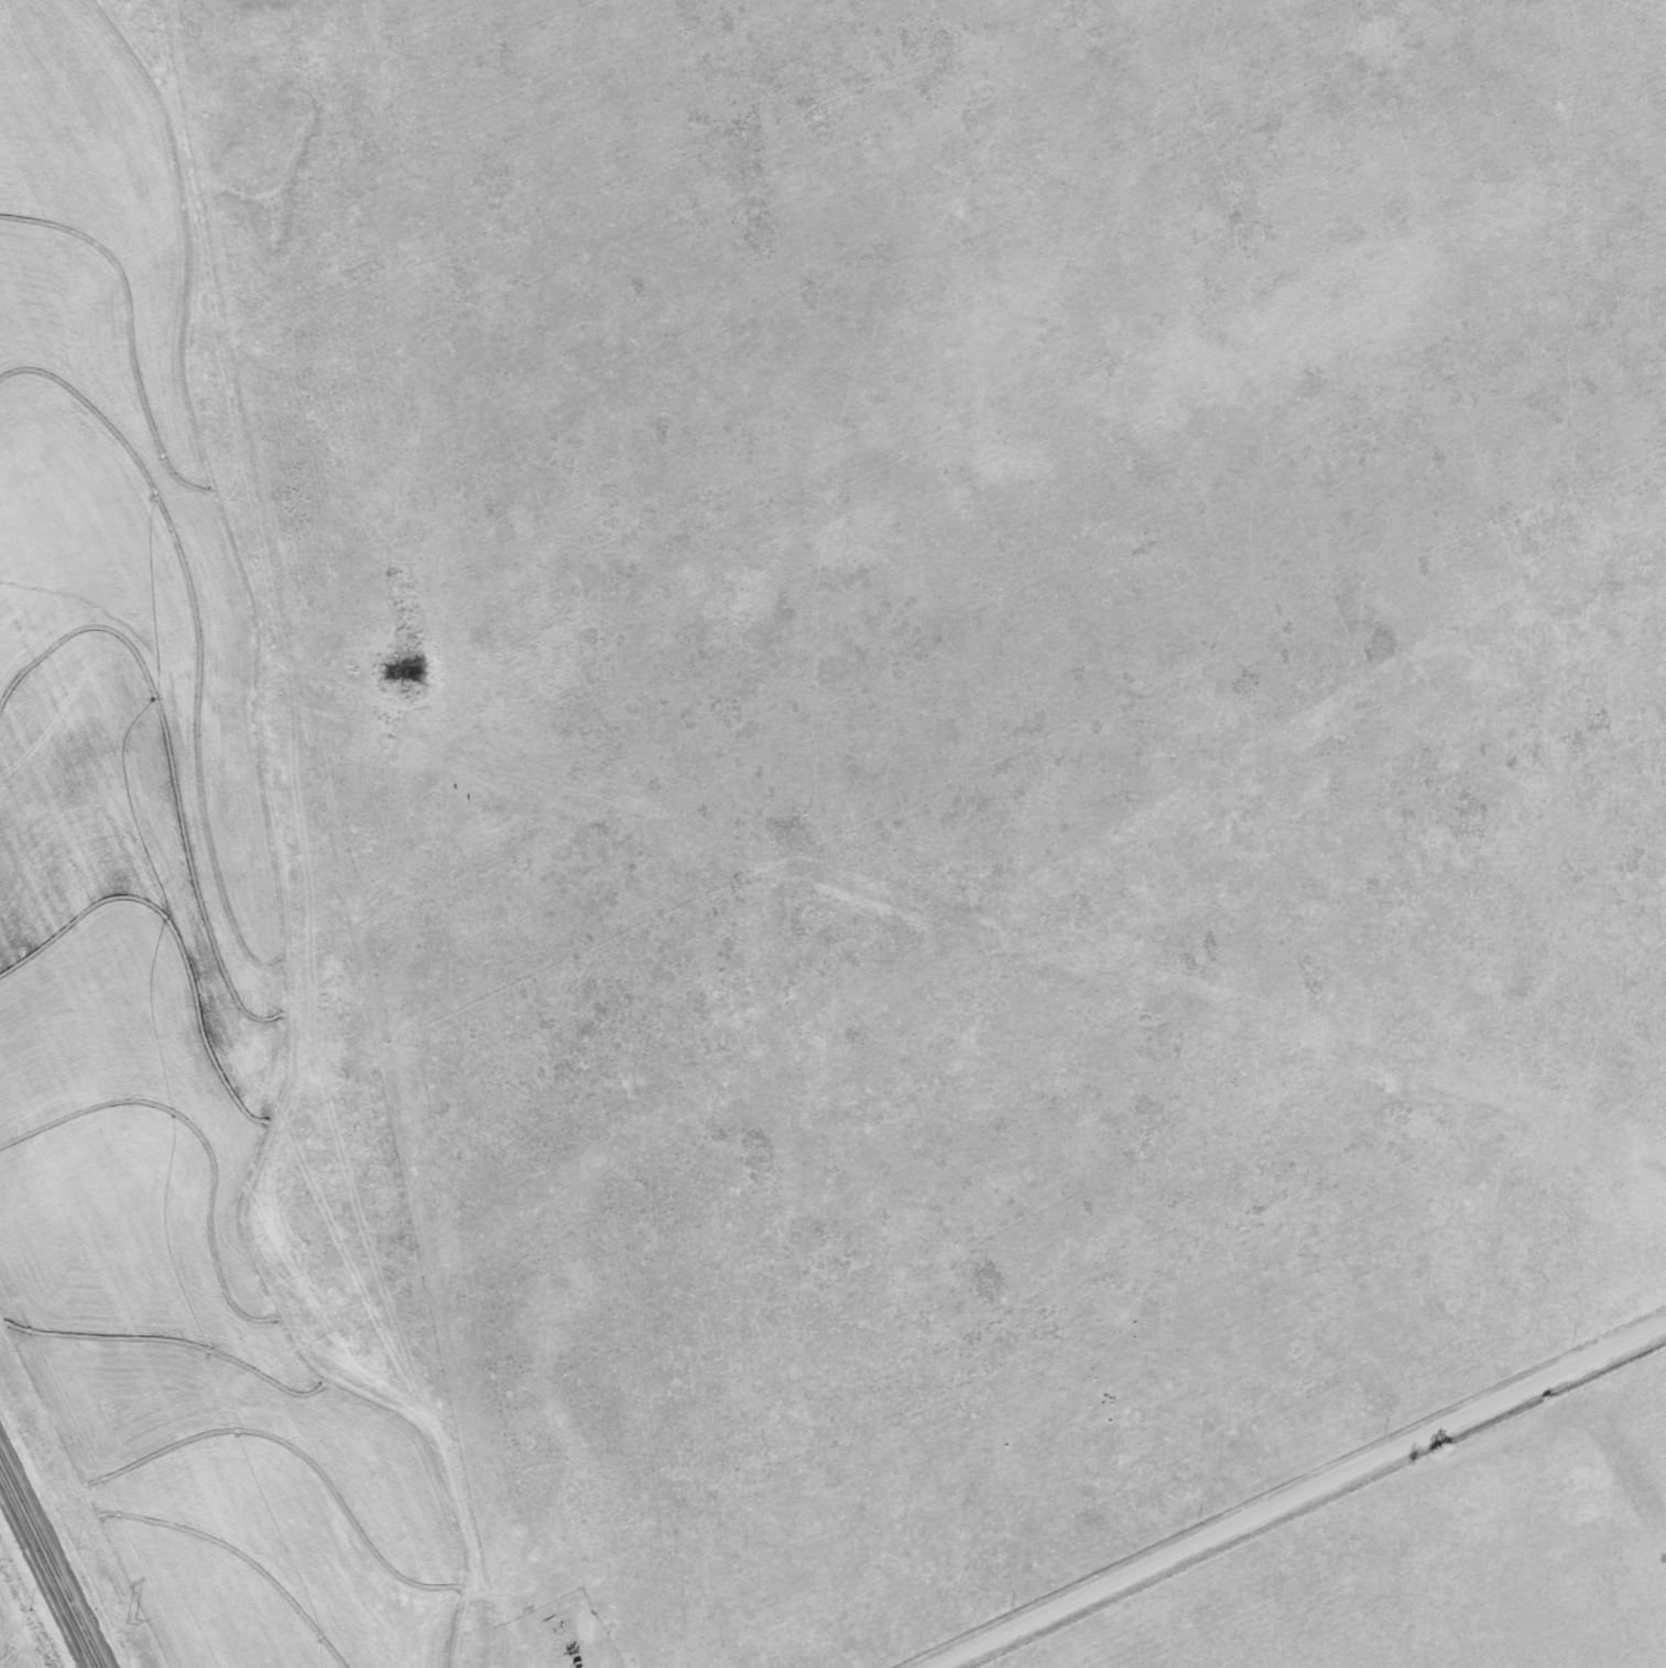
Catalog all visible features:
road: (1299, 1494)
road: (48, 1566)
power tower: (131, 1620)

